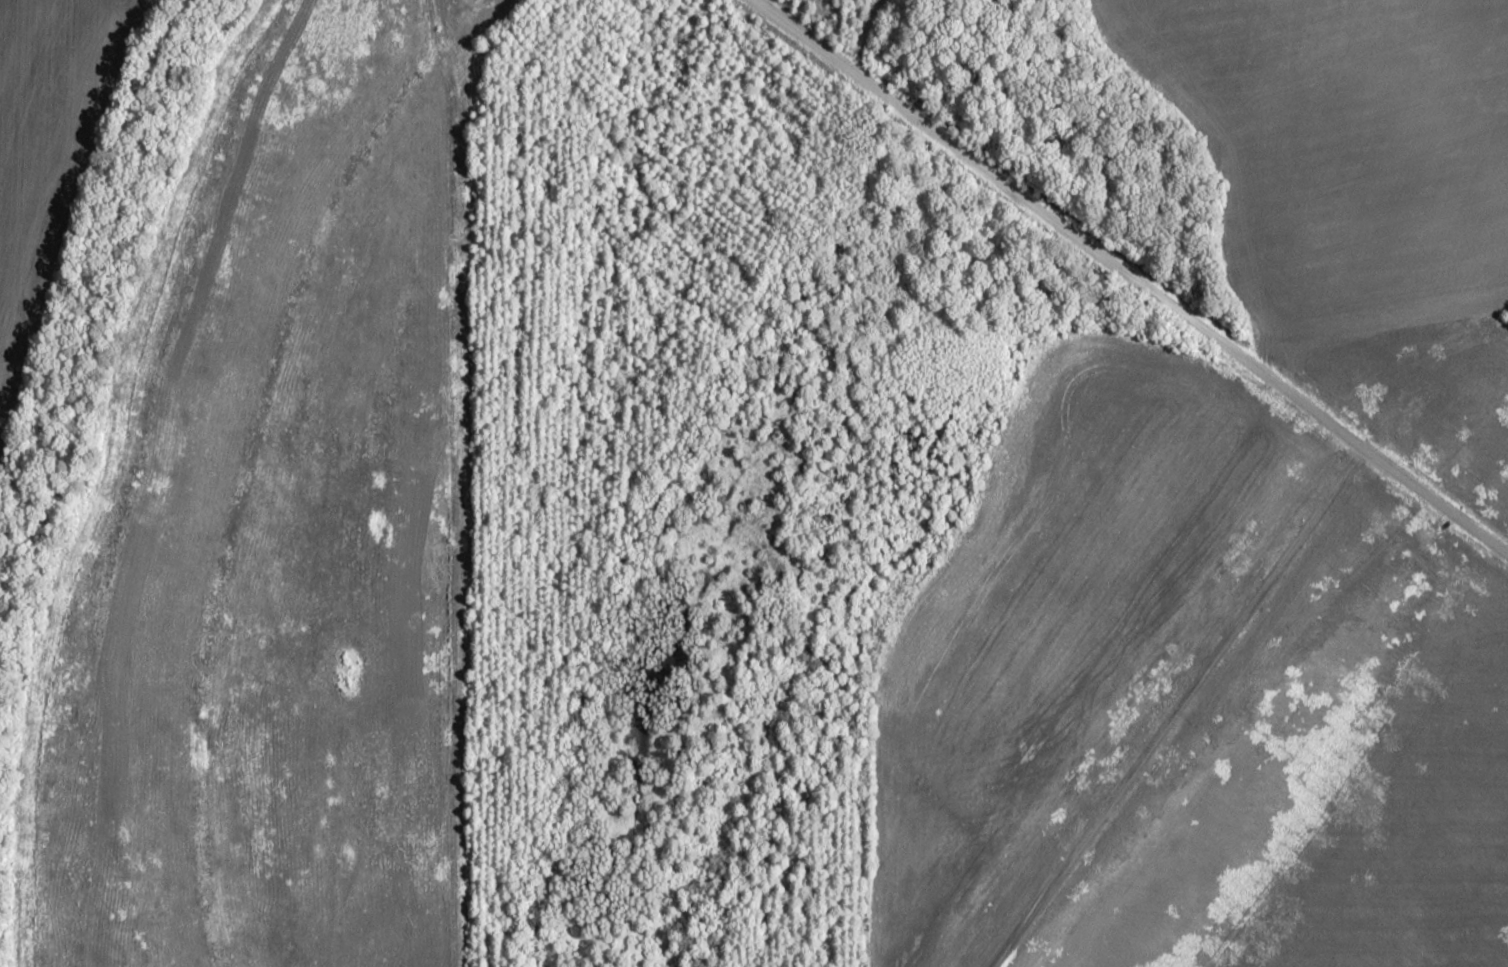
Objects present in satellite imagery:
road: (1133, 277)
road: (1177, 707)

